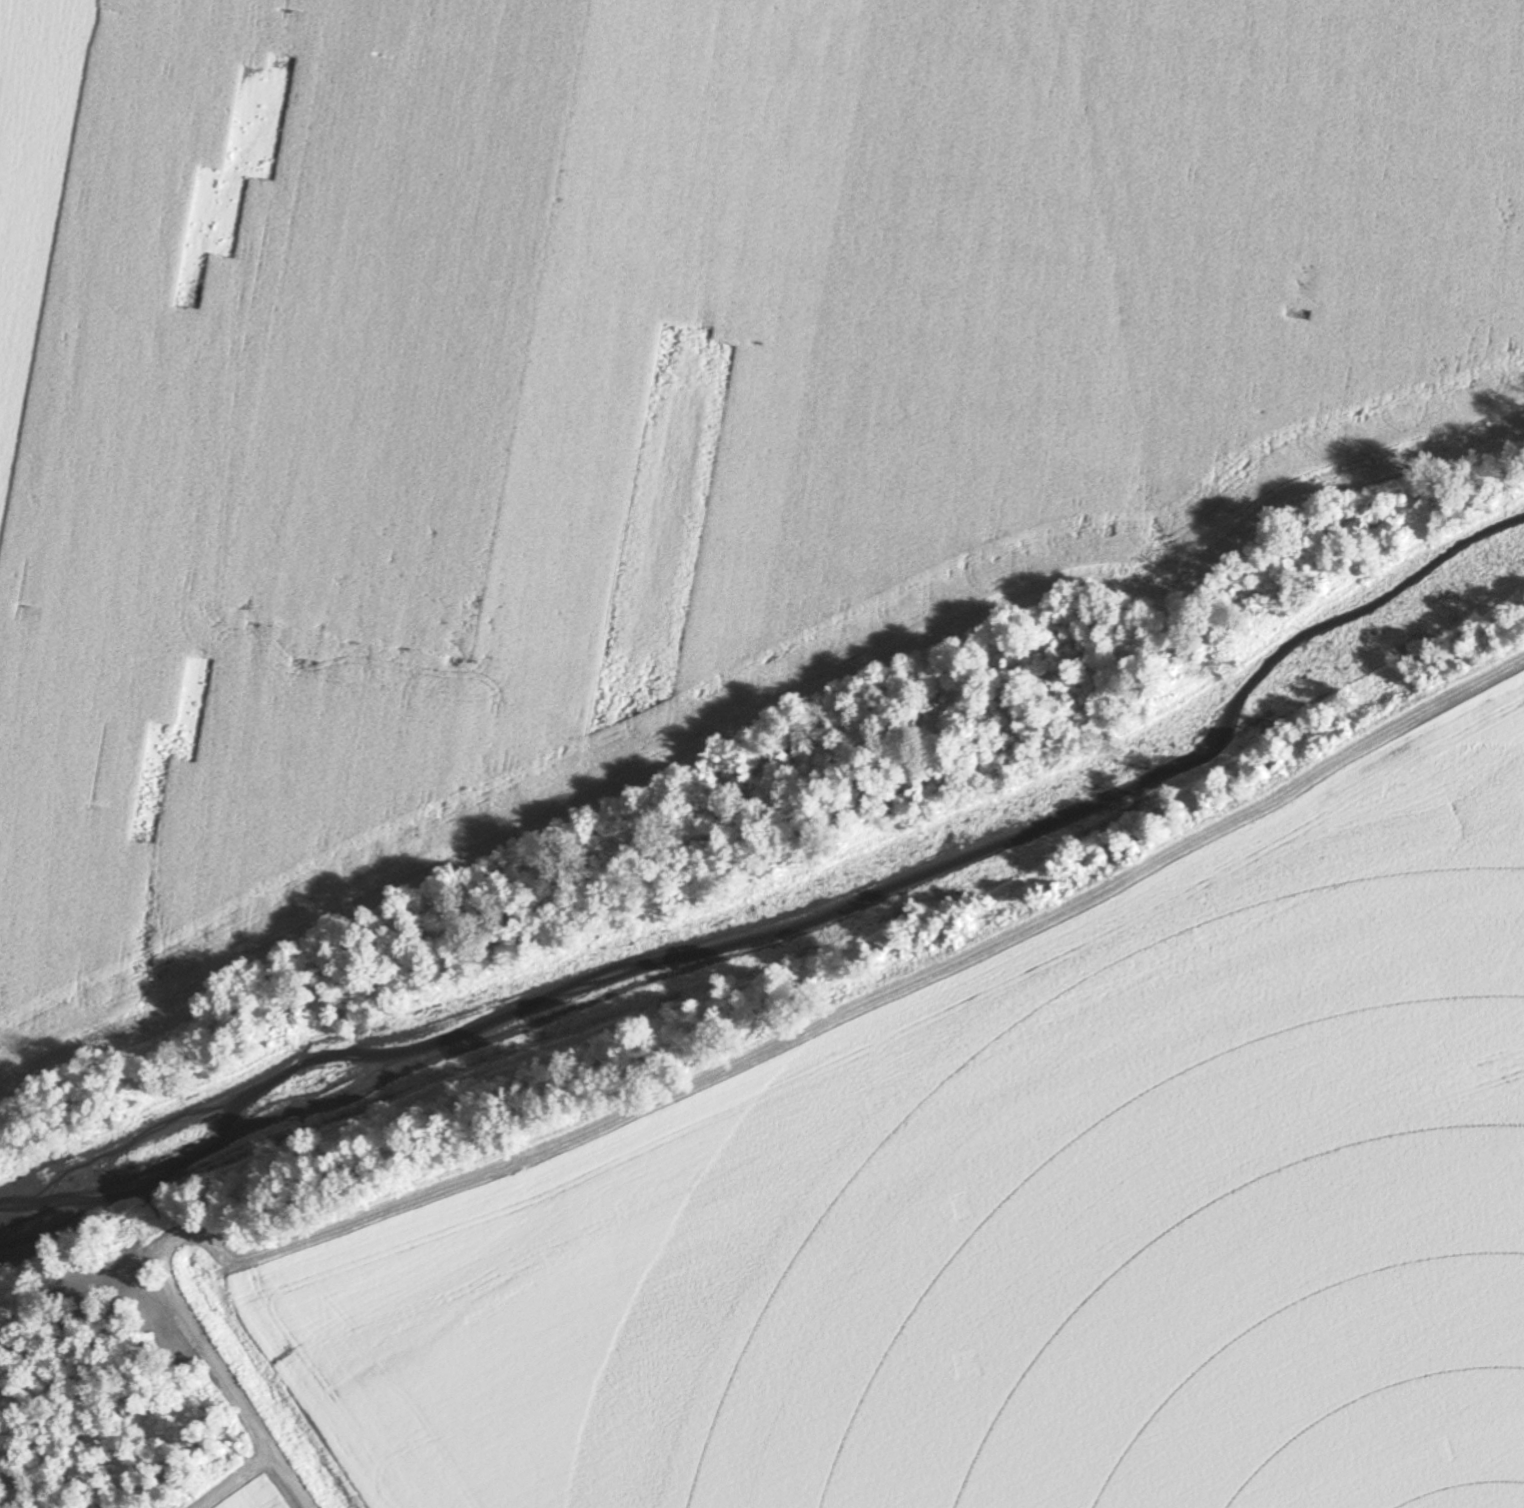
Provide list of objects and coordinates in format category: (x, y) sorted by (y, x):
river: (346, 1076)

